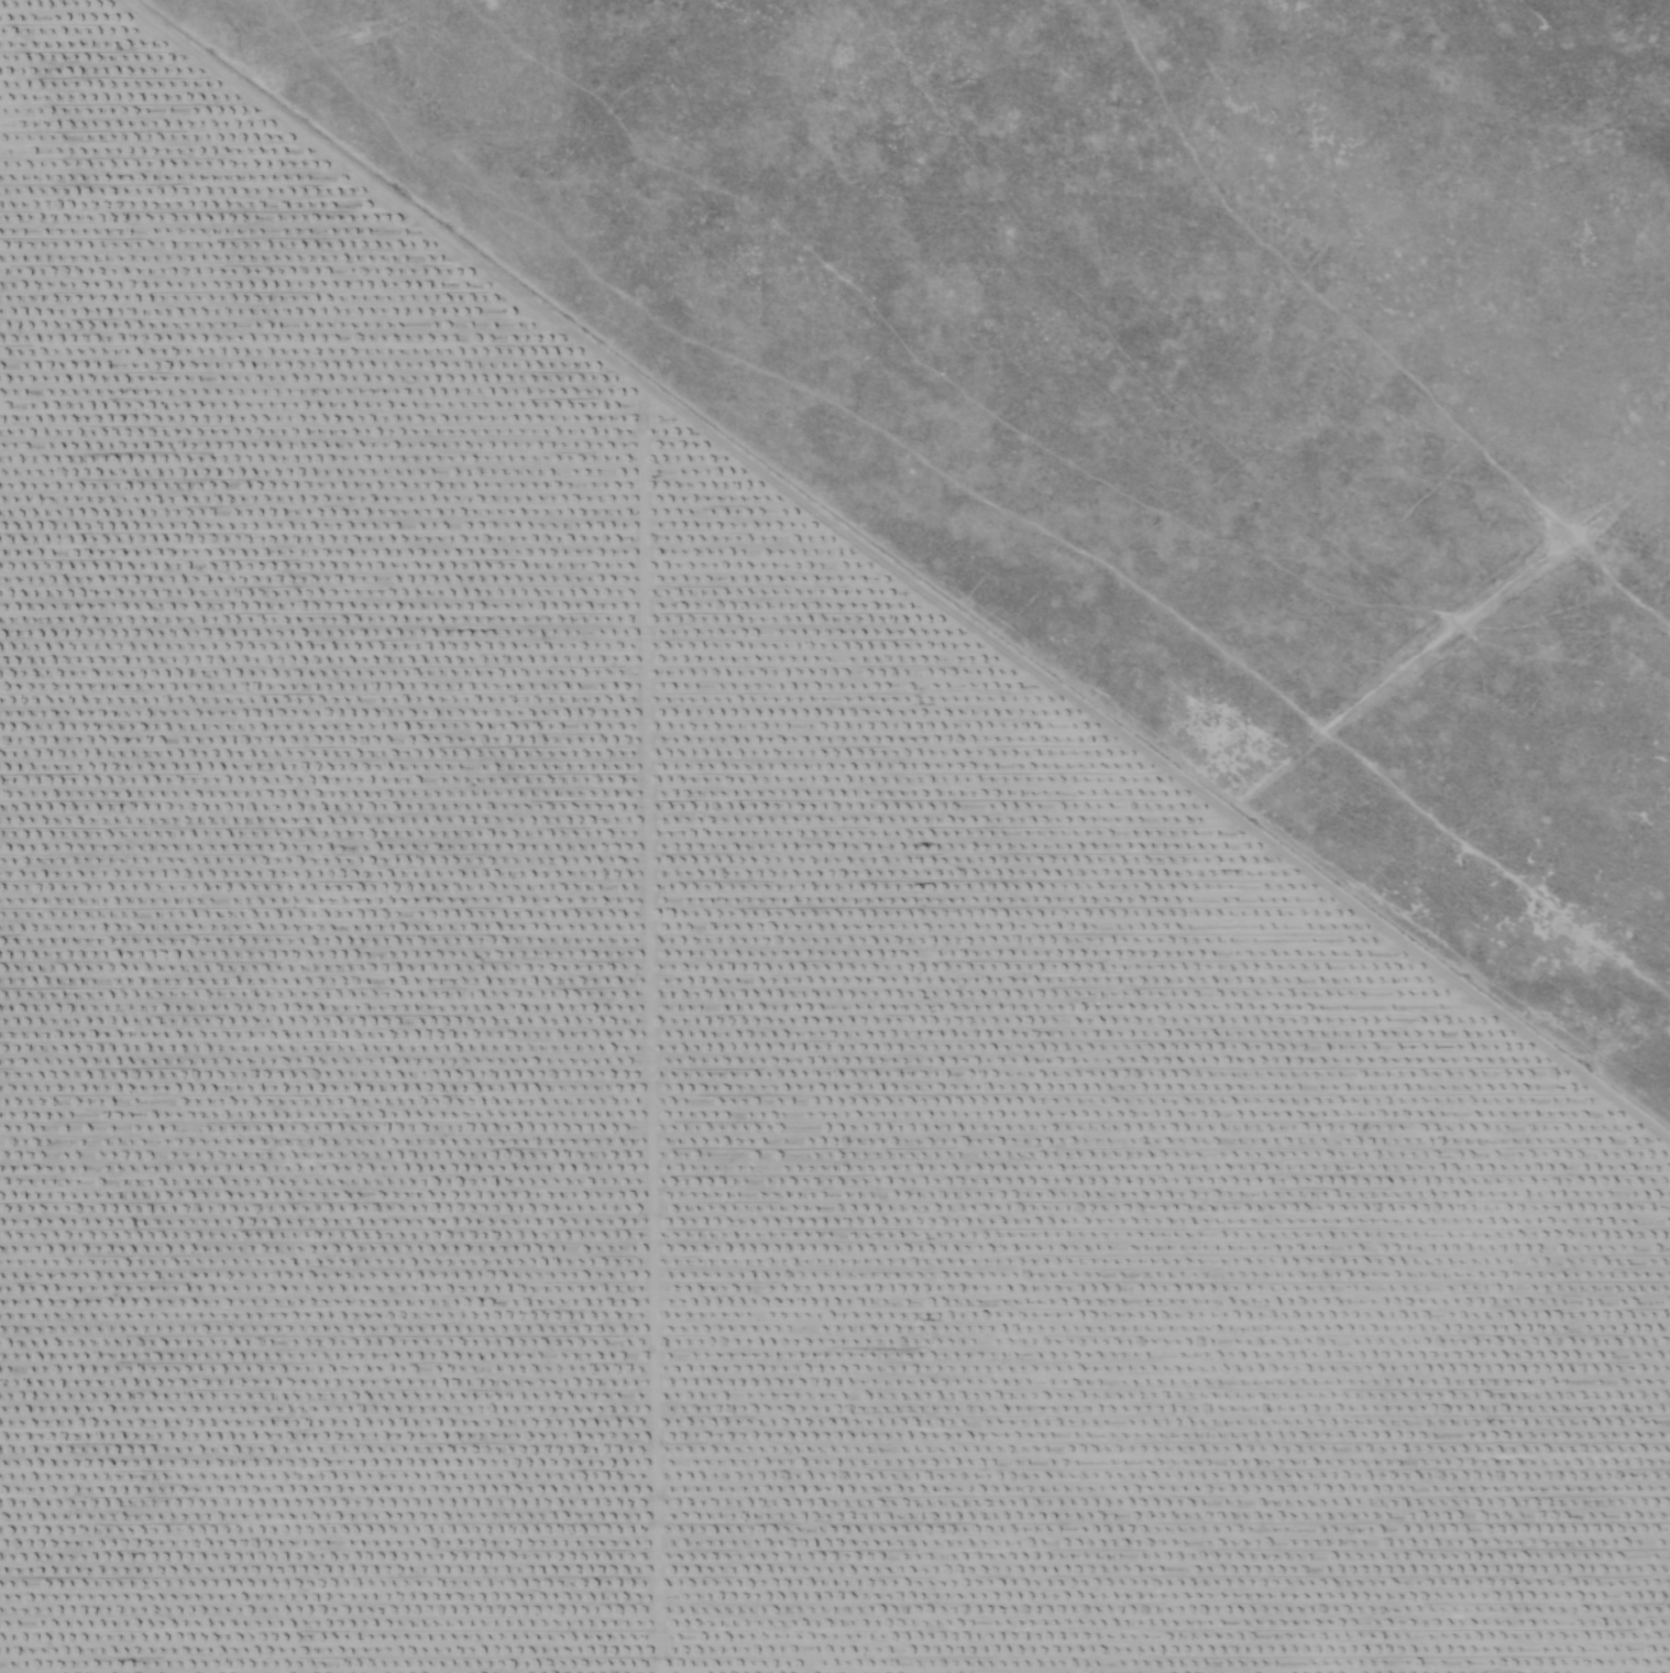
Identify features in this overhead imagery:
crop: (688, 1043)

